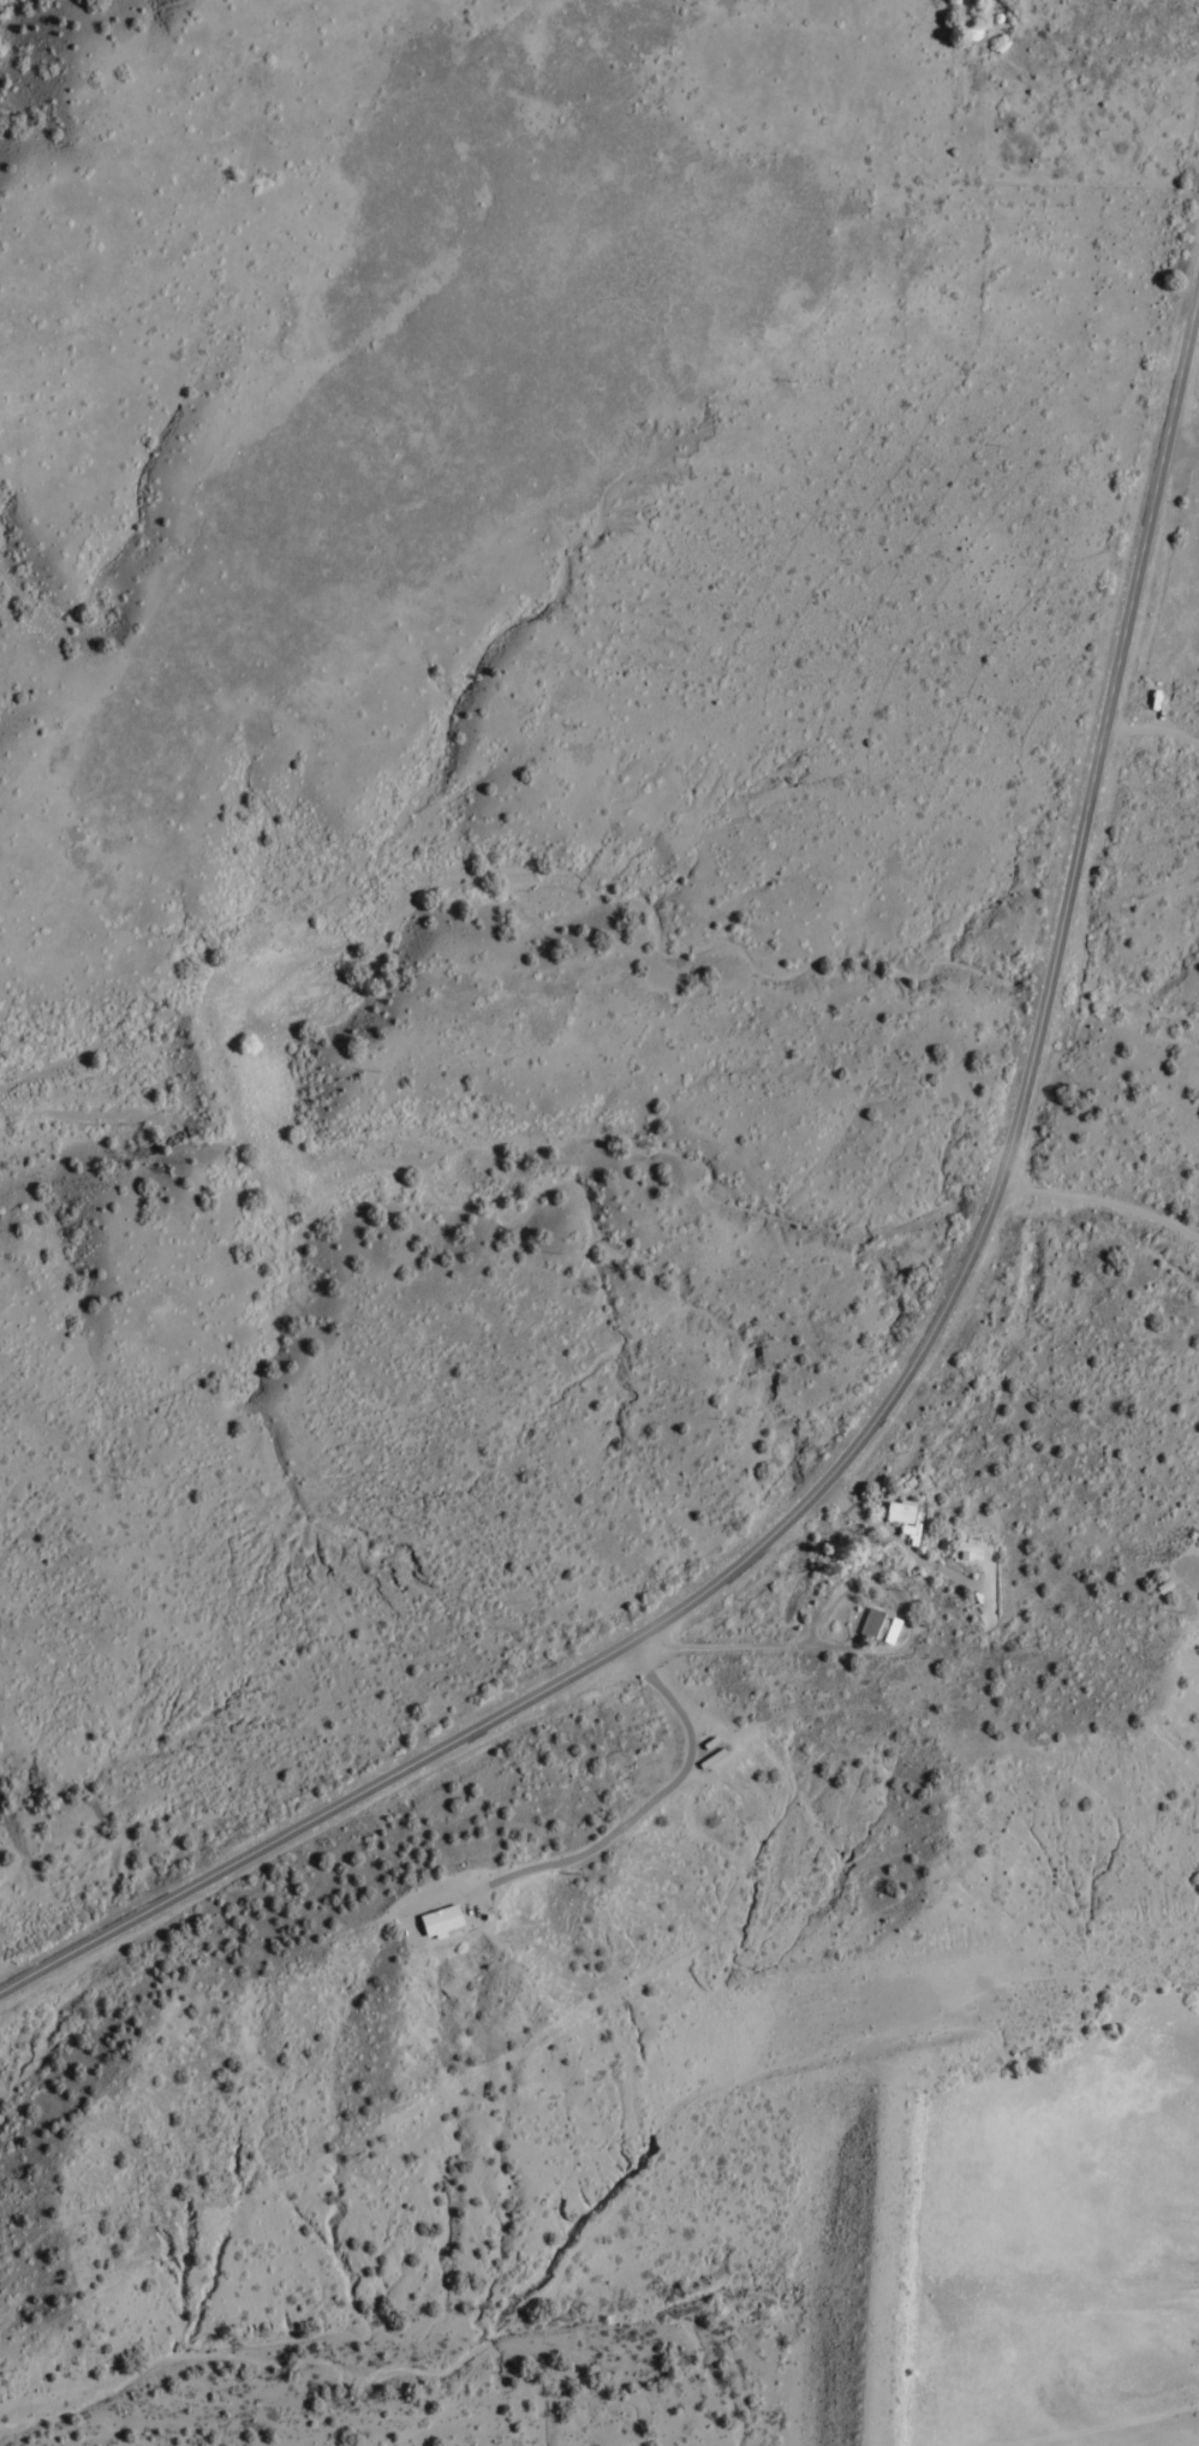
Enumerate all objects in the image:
road: (903, 1387)
building: (897, 1512)
building: (867, 1623)
building: (889, 1631)
building: (434, 1917)
road: (199, 2393)

